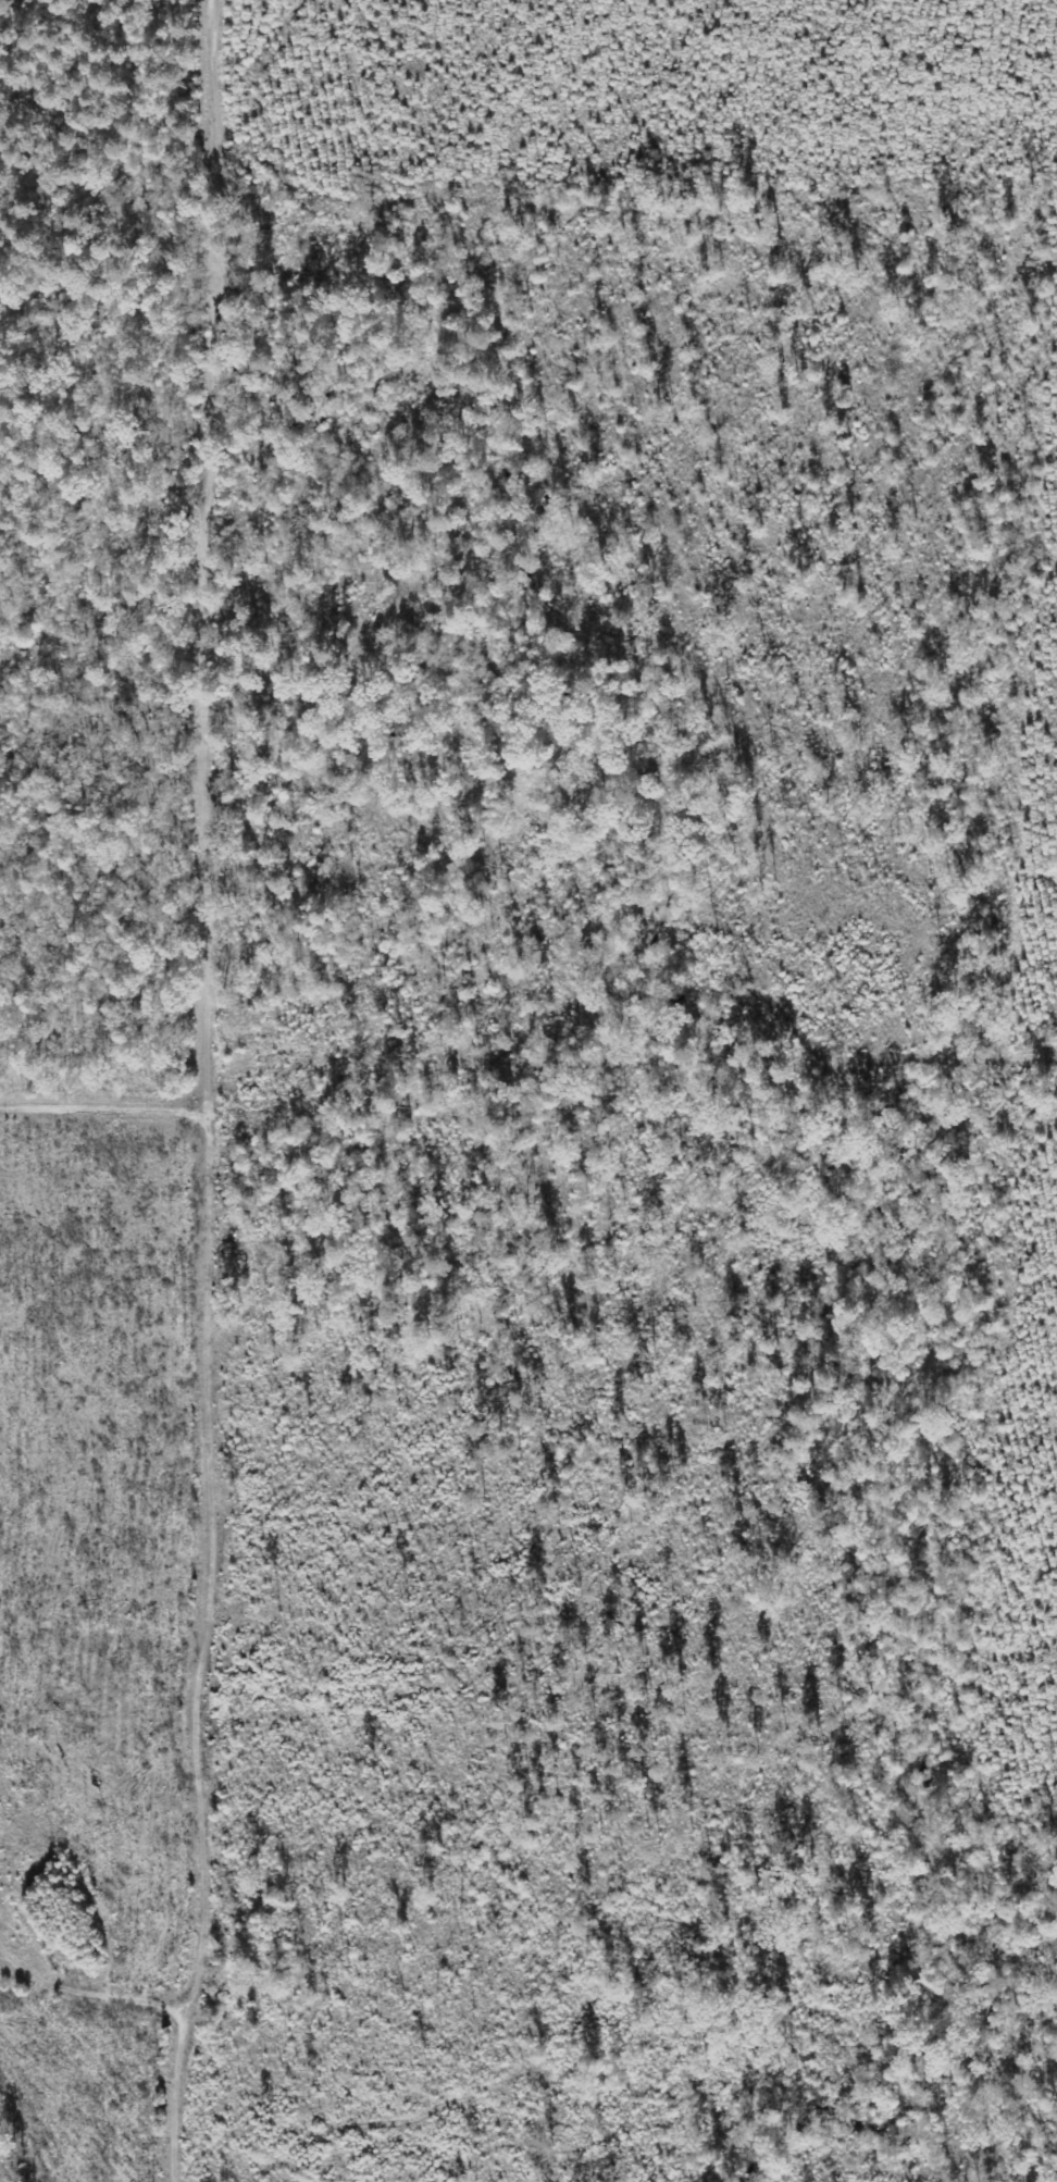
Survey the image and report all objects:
road: (226, 1091)

